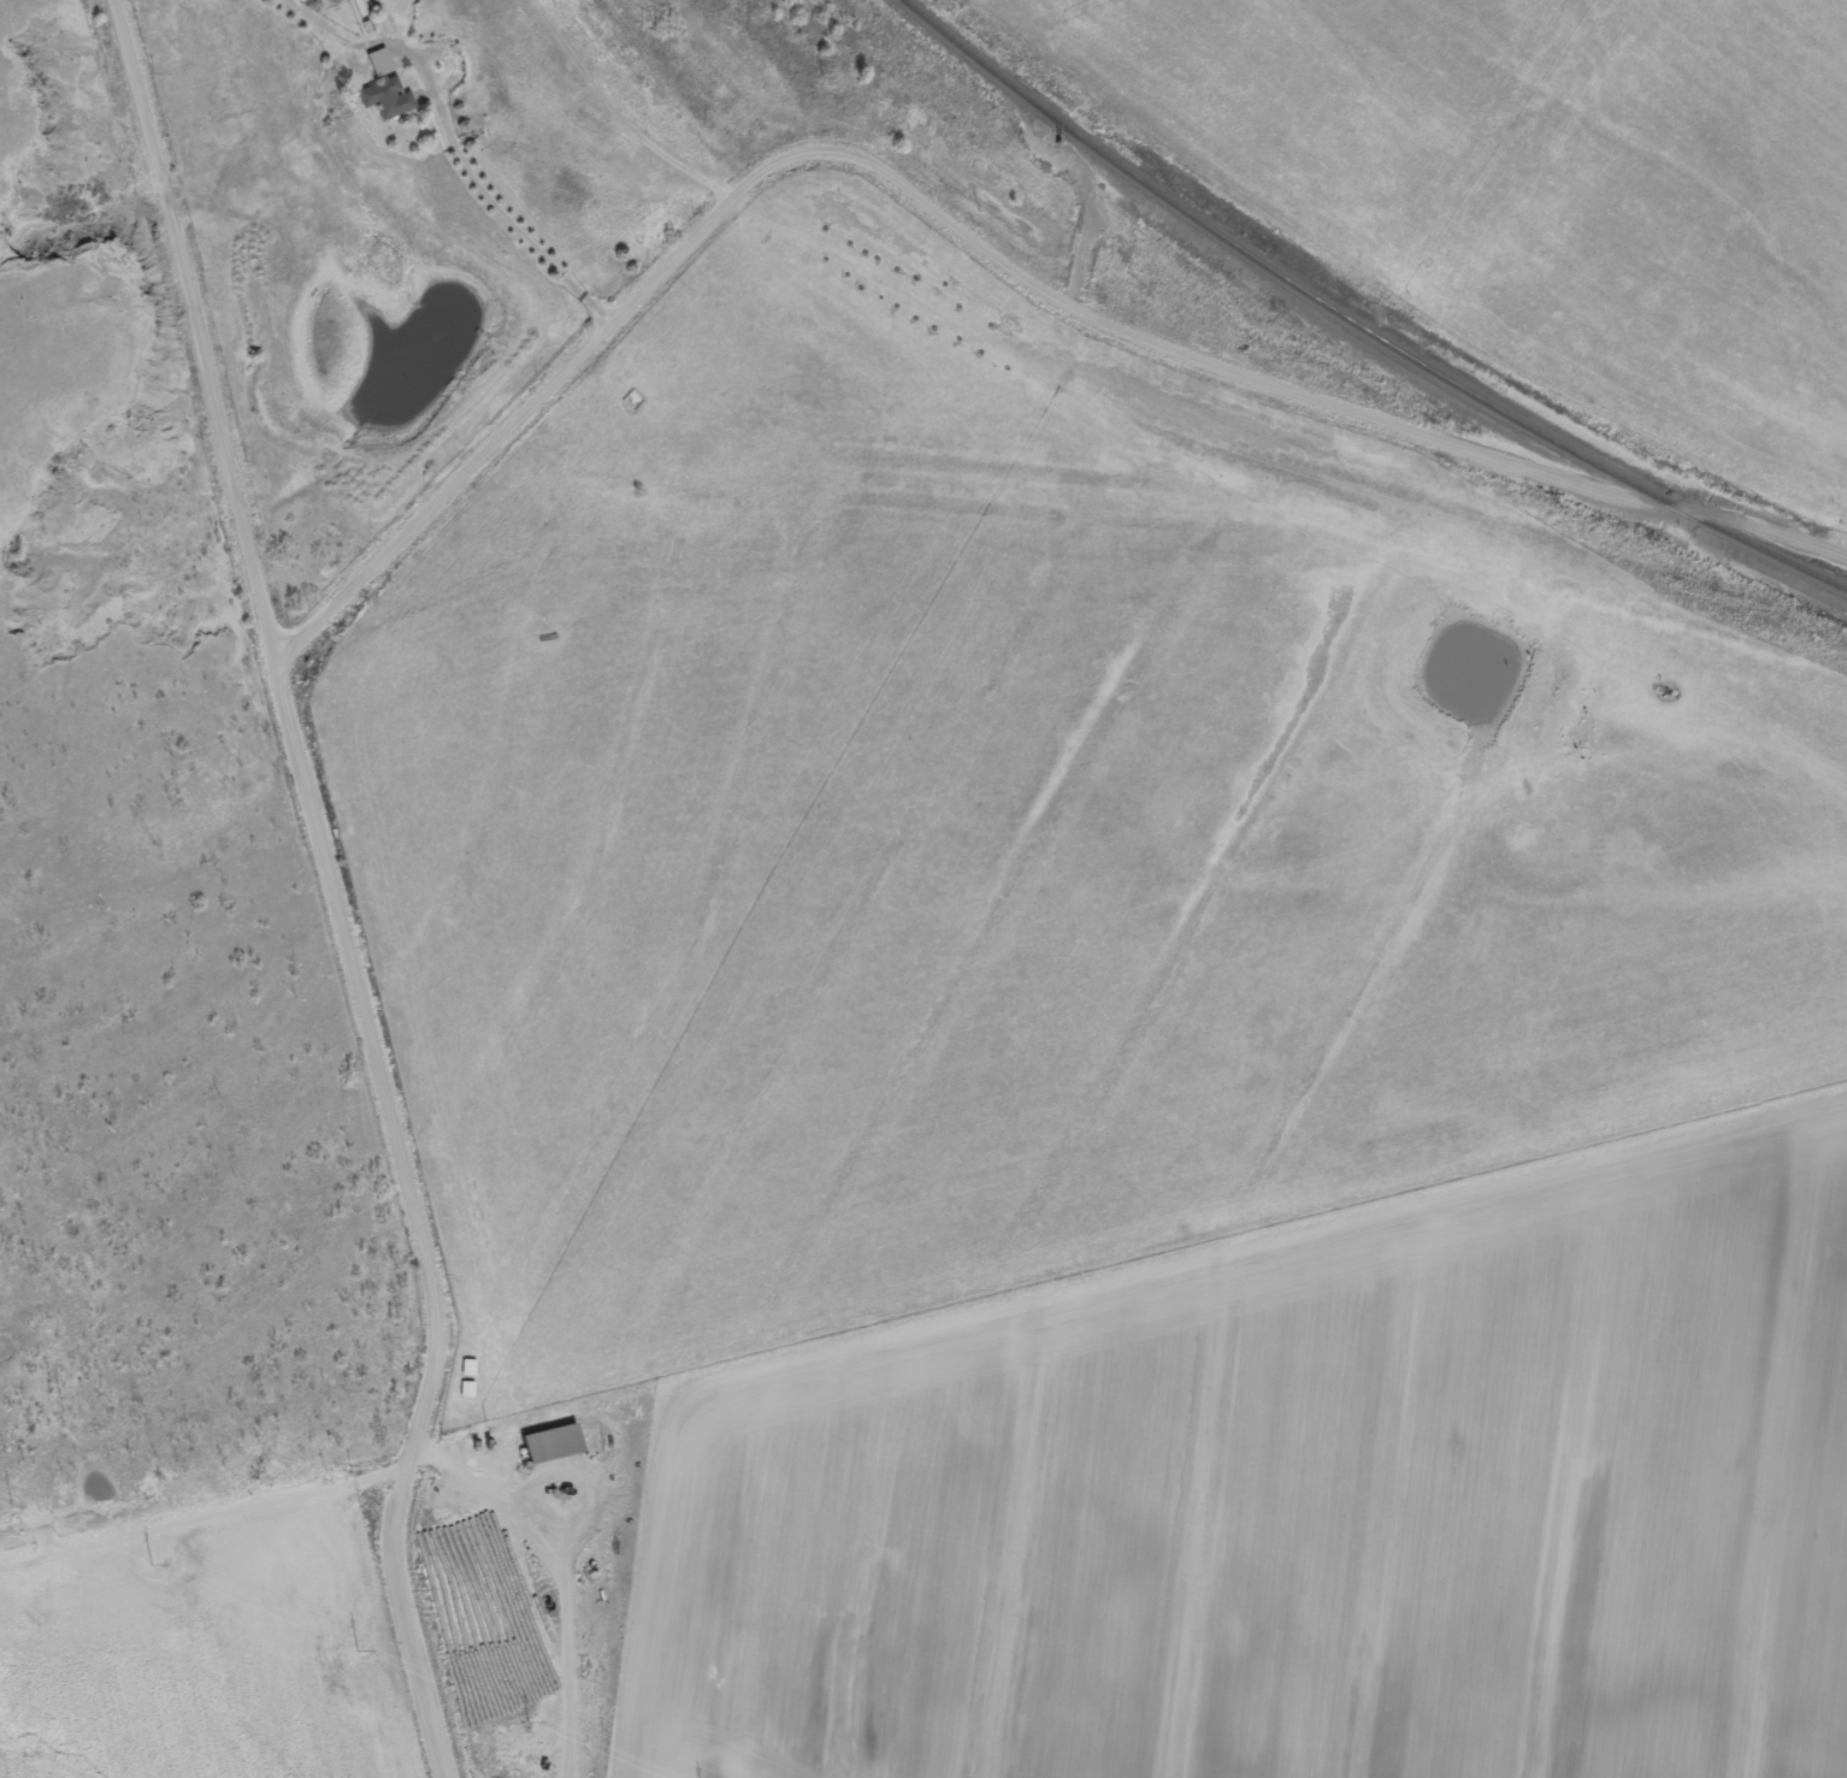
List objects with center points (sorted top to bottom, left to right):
building: (383, 89)
road: (974, 240)
railway: (1355, 325)
road: (335, 887)
building: (466, 1370)
building: (548, 1446)

